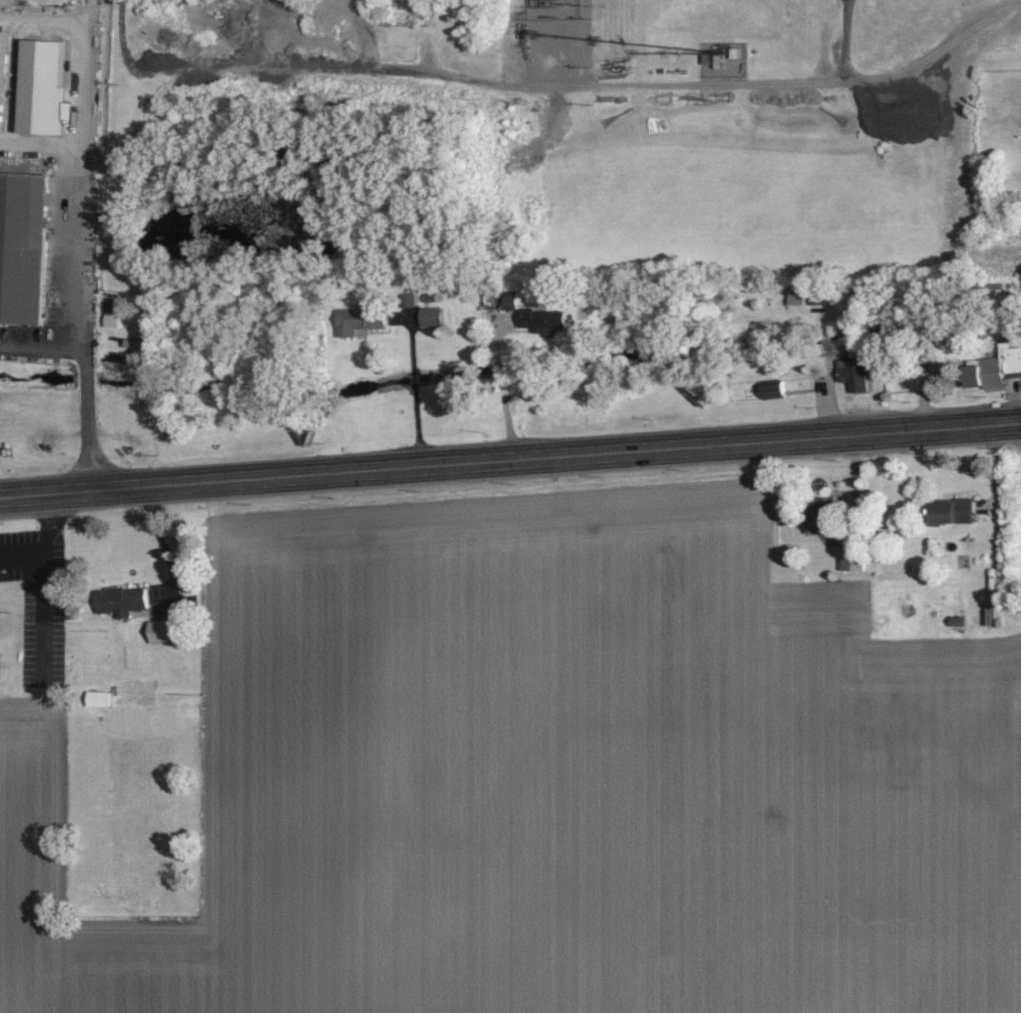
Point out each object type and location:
building: (4, 67)
building: (42, 87)
road: (75, 220)
building: (24, 247)
building: (406, 300)
building: (508, 300)
building: (431, 317)
building: (542, 319)
building: (360, 320)
building: (111, 321)
road: (496, 343)
road: (410, 347)
road: (41, 348)
road: (499, 362)
building: (995, 369)
building: (855, 374)
road: (412, 375)
building: (775, 392)
road: (507, 412)
road: (87, 419)
road: (416, 423)
road: (510, 458)
building: (956, 512)
building: (825, 518)
road: (160, 536)
building: (854, 560)
building: (122, 602)
building: (165, 631)
building: (99, 698)

